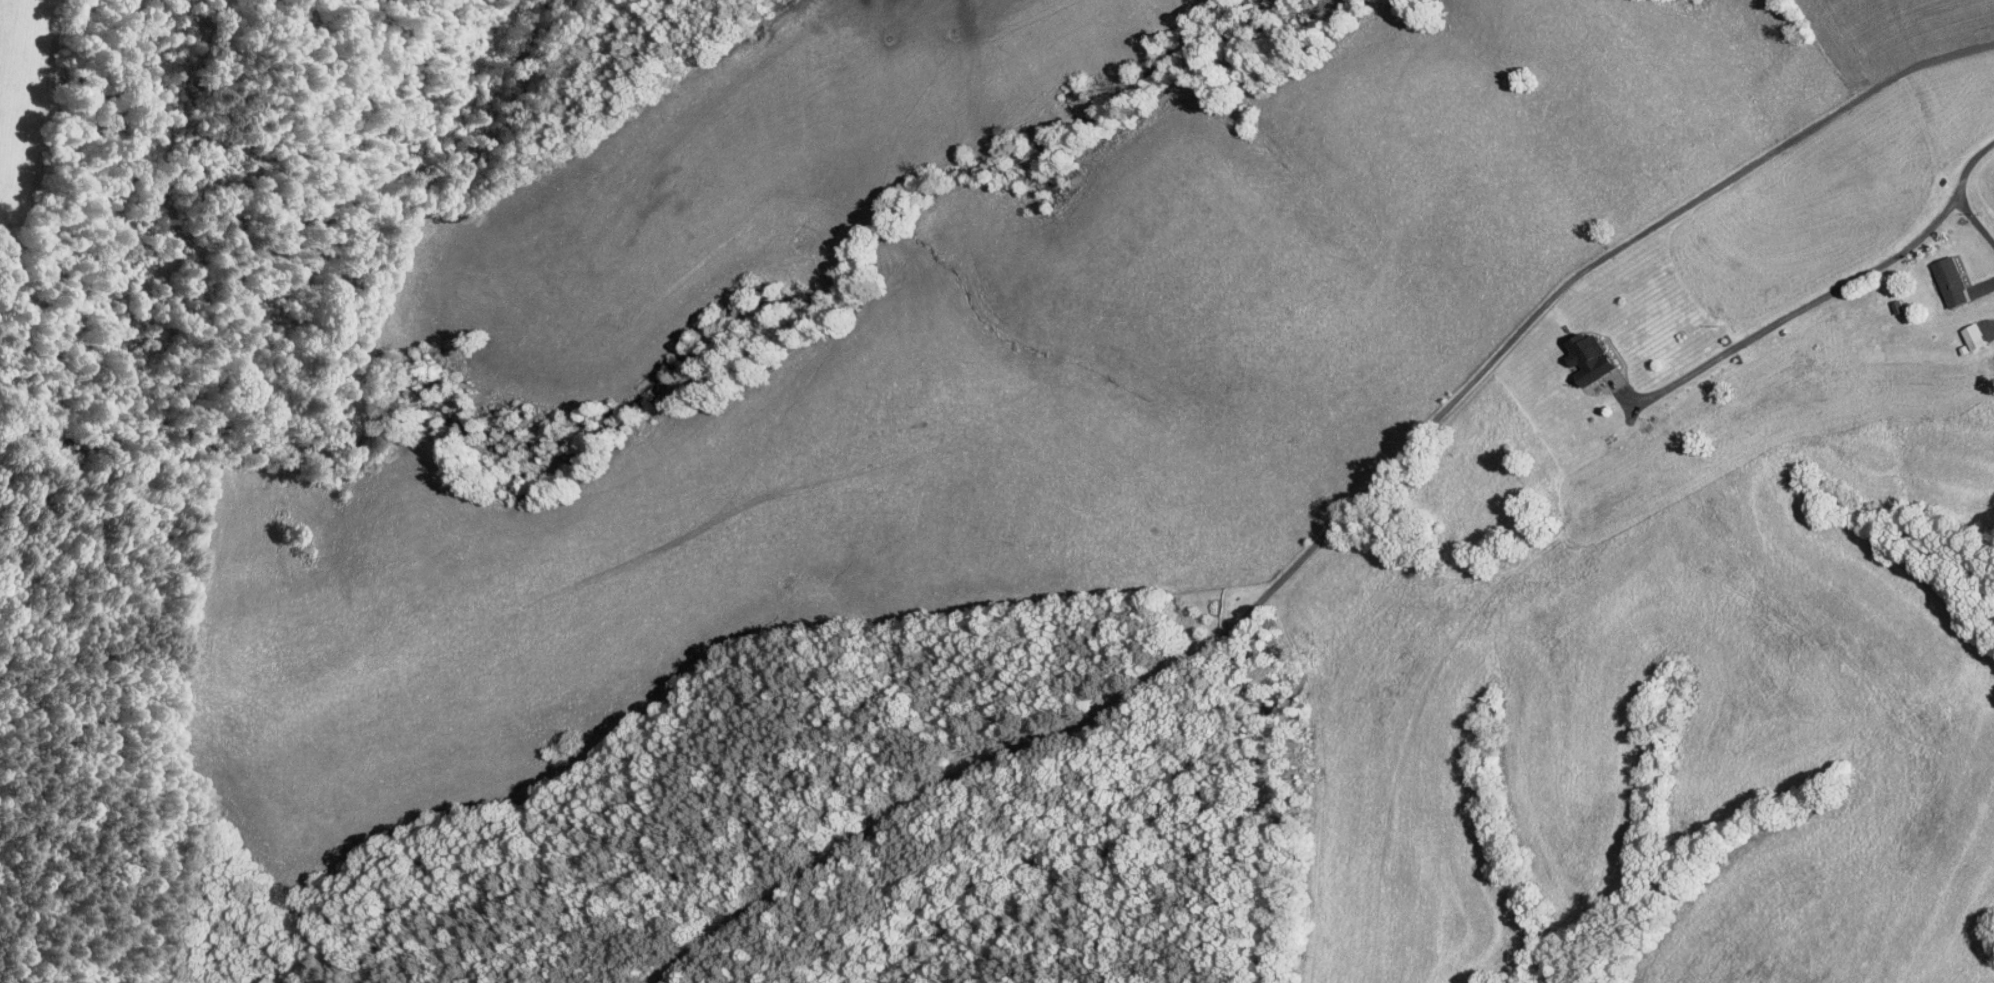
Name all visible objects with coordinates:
road: (1960, 191)
building: (1941, 274)
road: (1984, 285)
road: (1796, 309)
building: (1964, 329)
building: (1580, 351)
road: (1334, 524)

